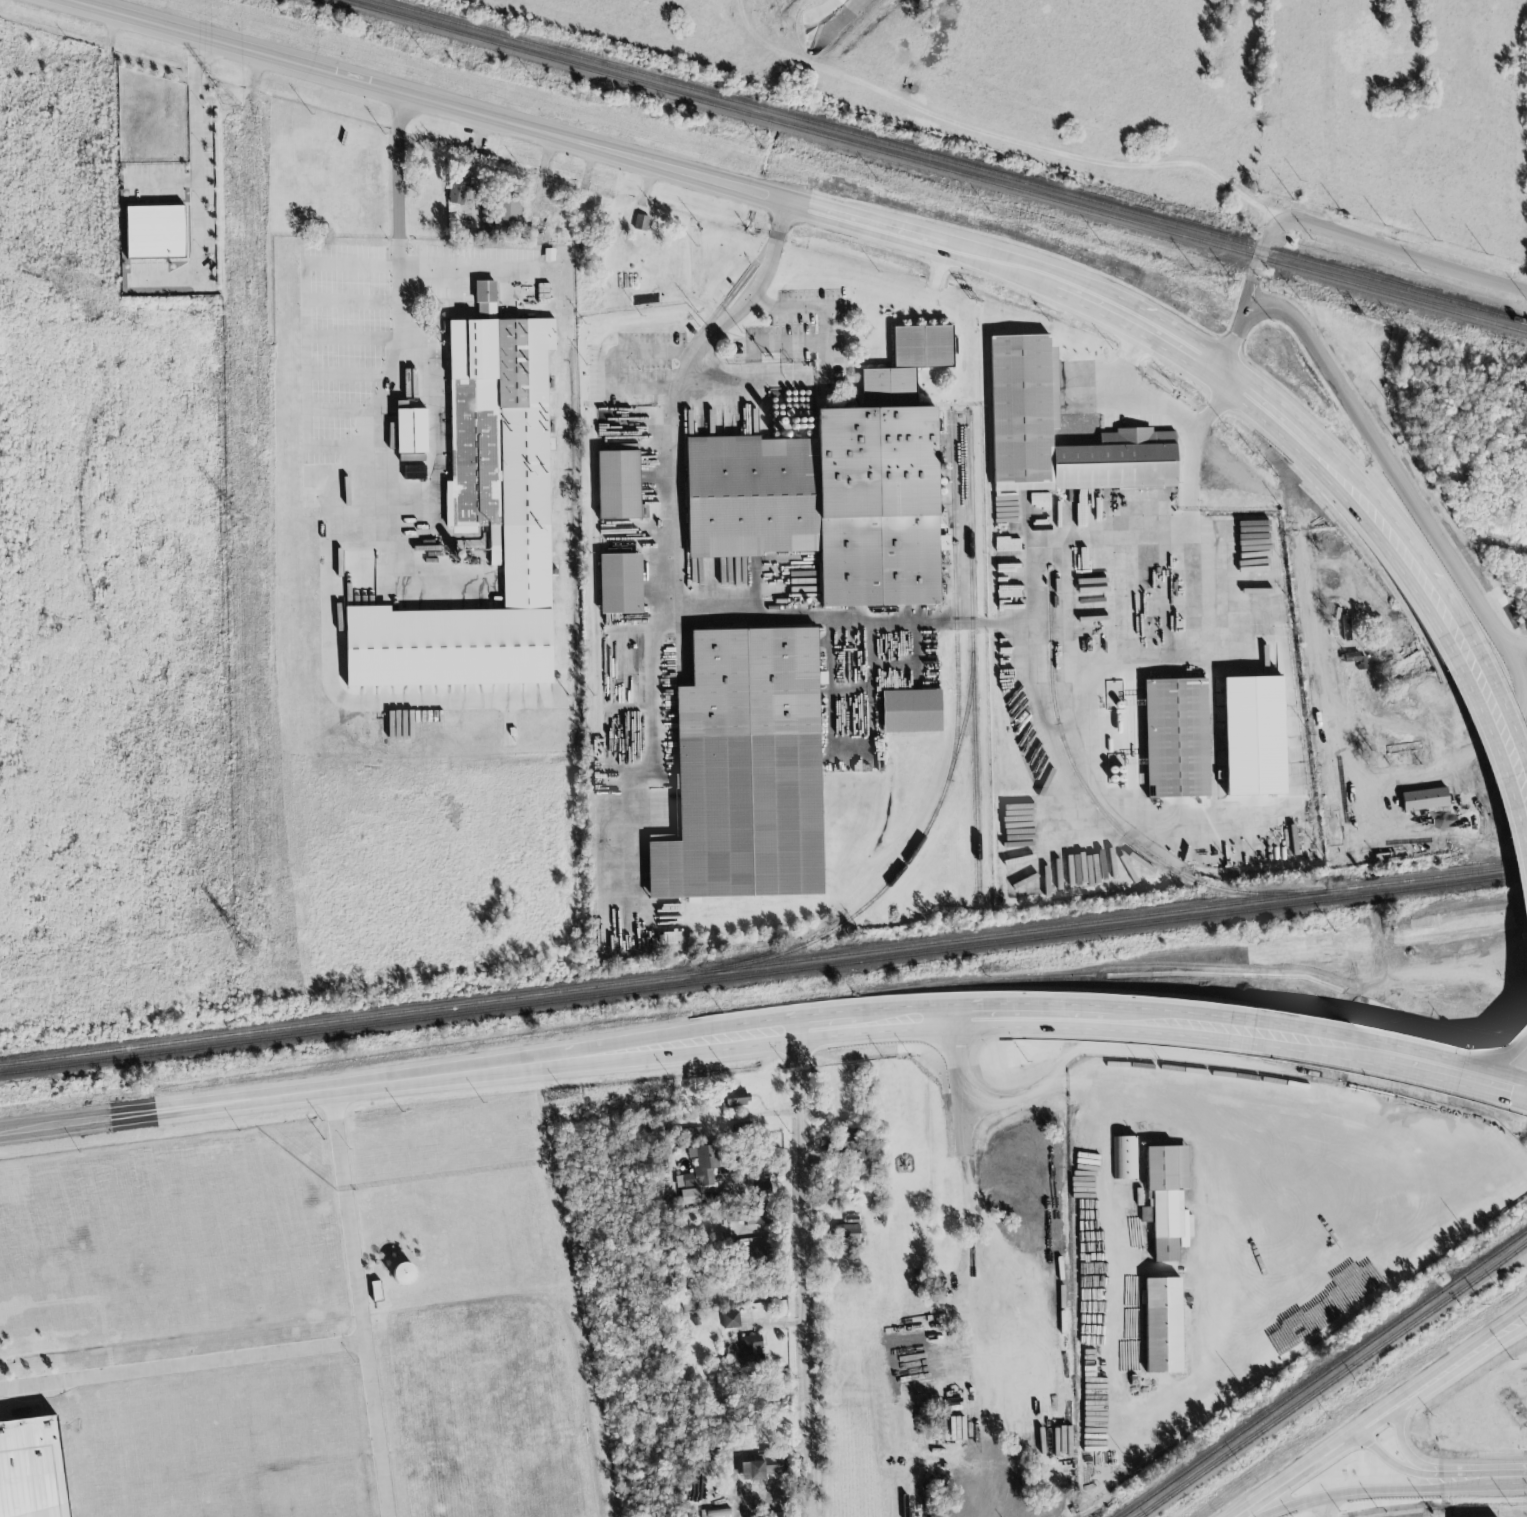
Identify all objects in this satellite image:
power tower: (230, 107)
railway: (721, 107)
road: (1333, 118)
railway: (951, 162)
road: (692, 175)
road: (195, 189)
building: (457, 191)
building: (509, 215)
building: (641, 221)
road: (1321, 228)
building: (485, 230)
building: (157, 232)
building: (509, 253)
railway: (1316, 272)
road: (338, 283)
road: (371, 283)
road: (302, 286)
road: (407, 301)
road: (823, 314)
building: (923, 345)
building: (1024, 386)
road: (1134, 395)
road: (675, 398)
building: (413, 431)
road: (1387, 468)
building: (415, 473)
building: (618, 484)
building: (750, 495)
building: (879, 495)
power tower: (233, 520)
building: (482, 520)
road: (1190, 524)
road: (1159, 529)
building: (621, 583)
road: (1133, 584)
railway: (952, 594)
road: (1441, 607)
building: (1347, 629)
building: (1355, 658)
road: (1165, 661)
building: (913, 710)
building: (1255, 733)
building: (1176, 735)
railway: (950, 759)
building: (746, 767)
railway: (1080, 785)
building: (1425, 798)
power tower: (247, 947)
railway: (763, 966)
railway: (763, 974)
road: (1240, 1032)
road: (474, 1071)
road: (958, 1091)
building: (737, 1097)
road: (1101, 1126)
building: (691, 1133)
building: (844, 1141)
building: (1126, 1157)
building: (703, 1166)
building: (762, 1188)
building: (691, 1196)
building: (1166, 1200)
road: (348, 1212)
building: (749, 1215)
building: (848, 1233)
building: (756, 1257)
building: (405, 1273)
road: (801, 1273)
building: (377, 1291)
building: (1362, 1296)
building: (687, 1299)
road: (1514, 1314)
building: (730, 1319)
building: (1163, 1324)
building: (751, 1350)
road: (183, 1365)
railway: (1319, 1373)
road: (1387, 1418)
road: (1359, 1419)
road: (376, 1425)
road: (1407, 1445)
building: (761, 1466)
road: (1382, 1467)
building: (29, 1469)
road: (1491, 1477)
road: (1330, 1482)
road: (1362, 1493)
building: (775, 1495)
building: (718, 1512)

